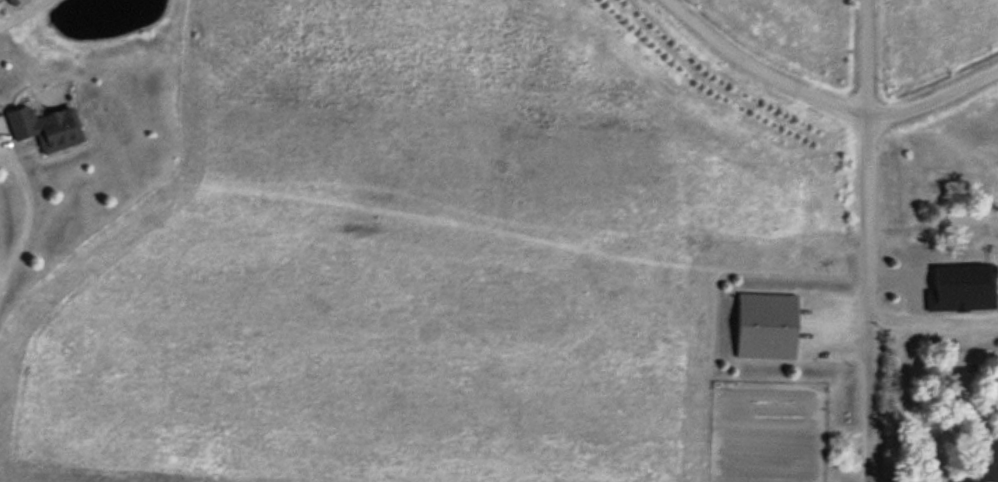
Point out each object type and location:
road: (19, 12)
road: (823, 101)
building: (41, 123)
road: (26, 212)
road: (863, 240)
road: (930, 316)
building: (761, 323)

